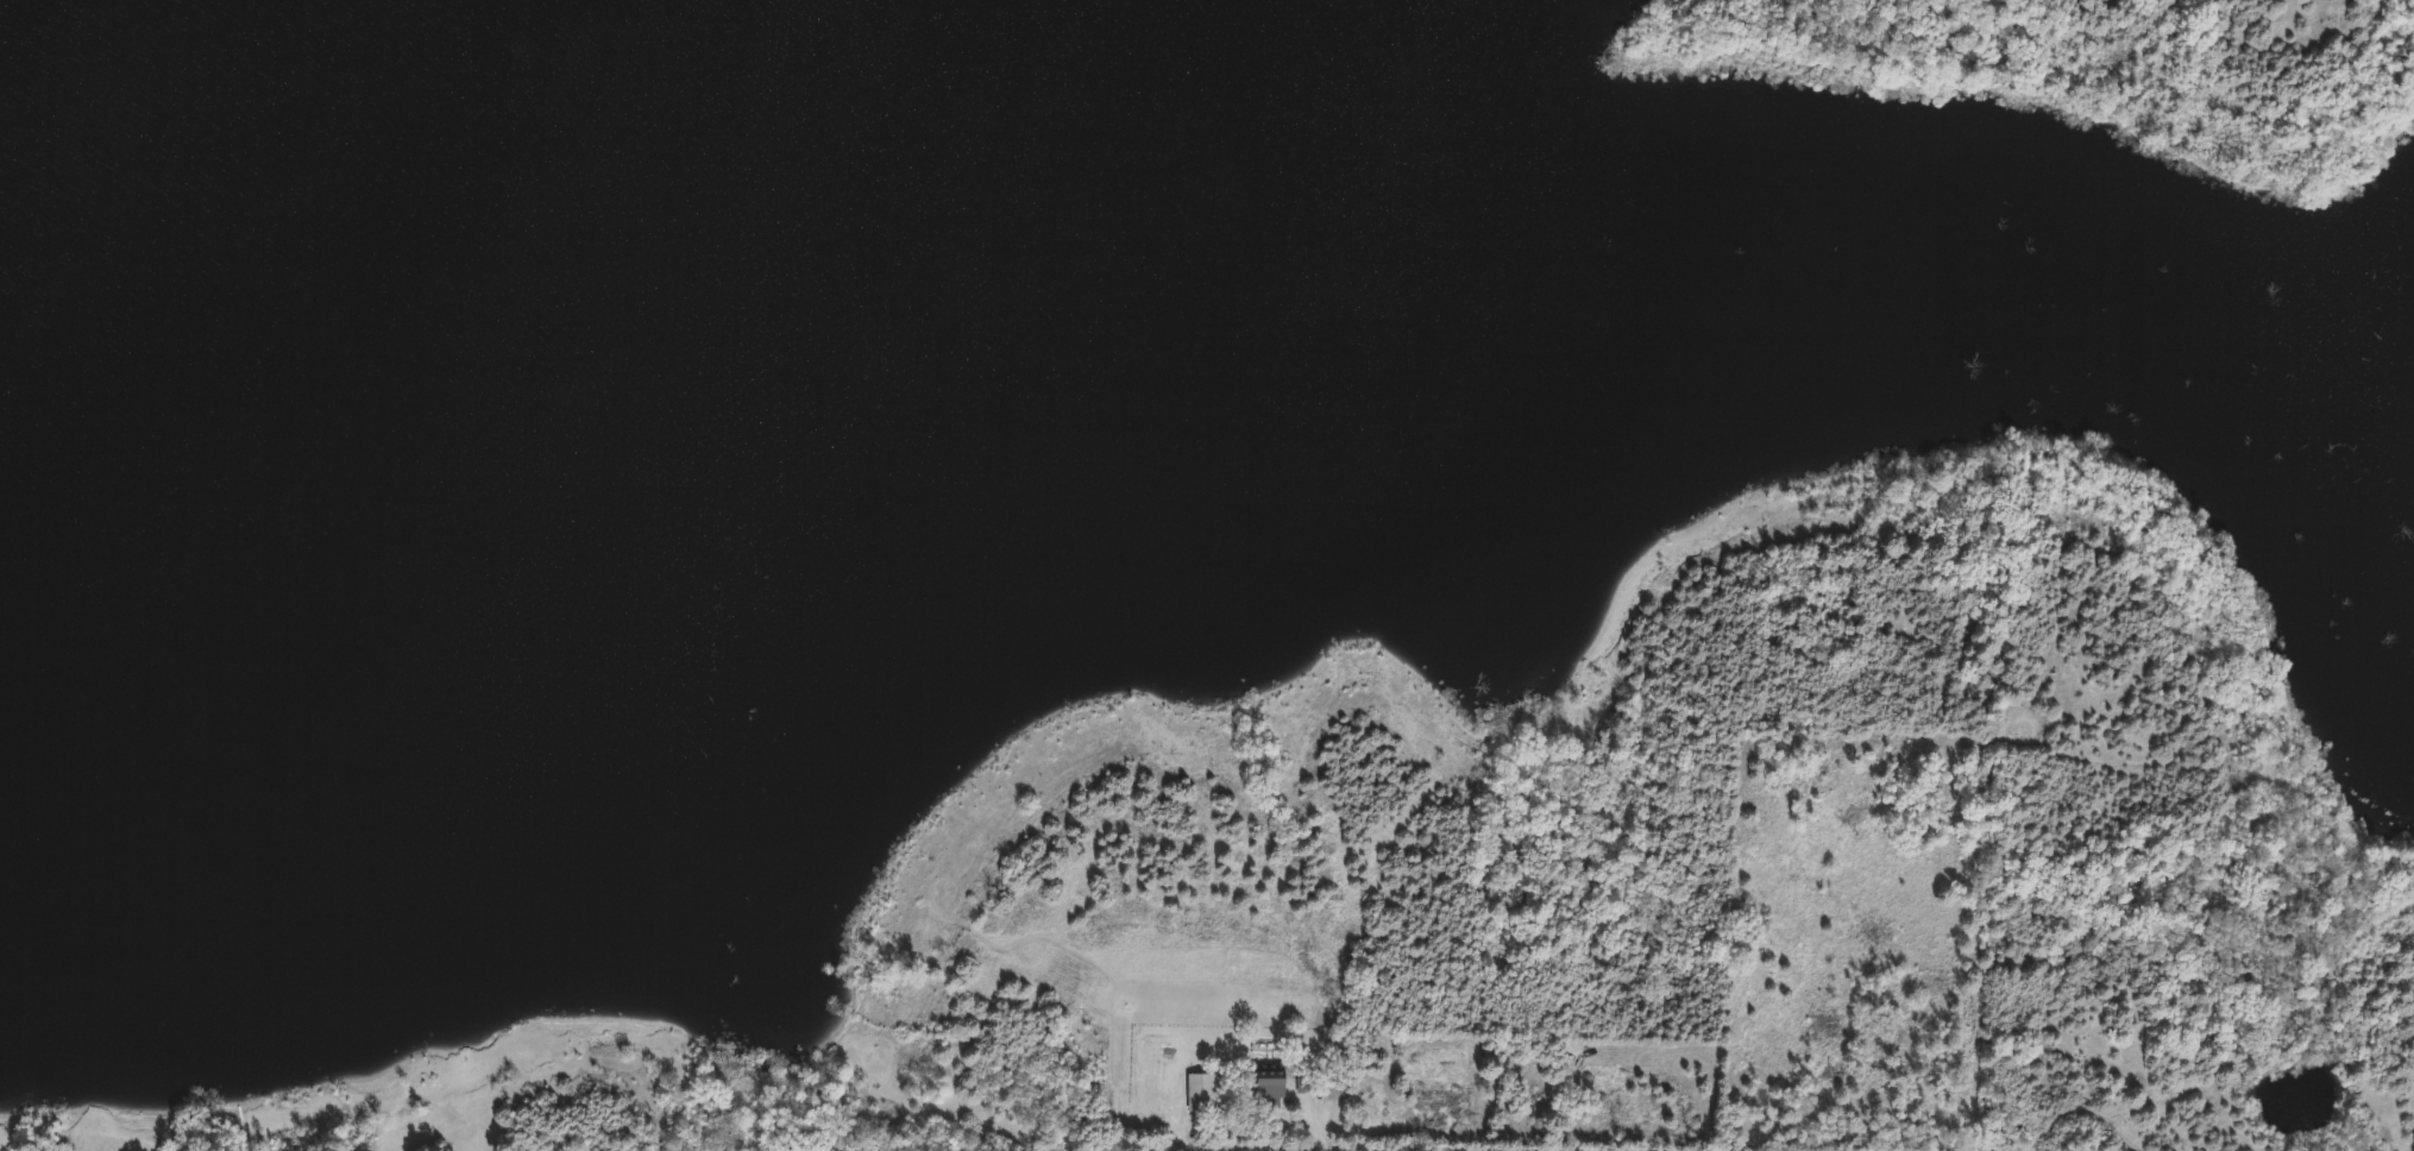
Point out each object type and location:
park: (2165, 52)
road: (2018, 1007)
building: (1262, 1080)
building: (1192, 1093)
road: (1215, 1150)

